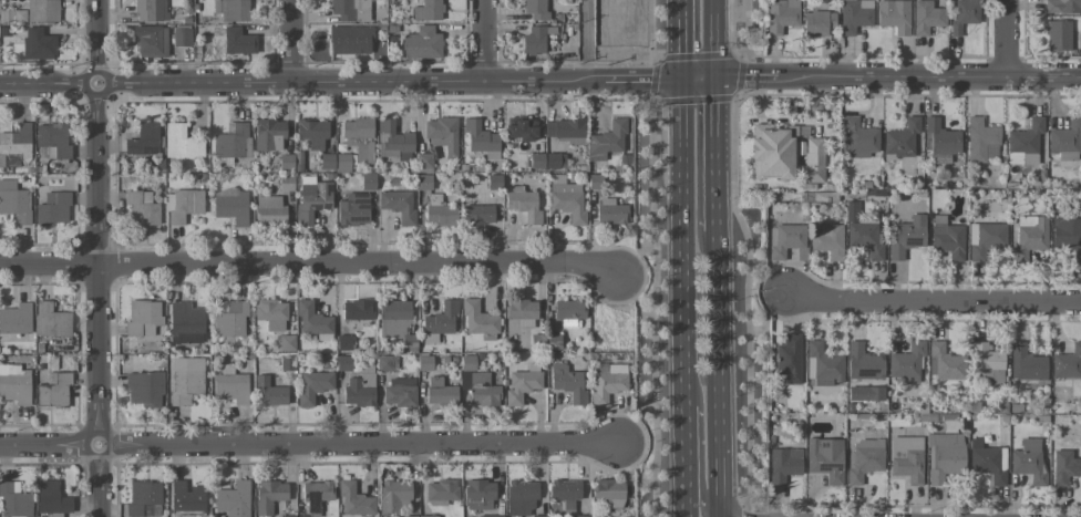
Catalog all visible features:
building: (1062, 6)
building: (534, 9)
building: (150, 10)
building: (230, 10)
building: (349, 10)
building: (426, 10)
building: (41, 11)
building: (962, 14)
building: (12, 15)
building: (781, 15)
building: (854, 15)
building: (894, 15)
building: (926, 17)
building: (817, 22)
road: (747, 28)
road: (649, 29)
building: (1058, 35)
building: (181, 38)
road: (719, 38)
building: (535, 39)
road: (682, 39)
road: (1003, 39)
building: (349, 40)
road: (588, 40)
building: (151, 41)
building: (237, 41)
road: (291, 41)
road: (482, 41)
building: (421, 43)
building: (37, 44)
road: (655, 58)
traffic signals: (720, 77)
road: (899, 77)
road: (701, 79)
traffic signals: (683, 80)
road: (341, 82)
building: (356, 128)
building: (564, 128)
building: (521, 130)
building: (312, 133)
building: (268, 134)
building: (442, 135)
building: (857, 137)
building: (900, 138)
building: (940, 138)
building: (143, 139)
building: (481, 139)
building: (1065, 139)
building: (51, 141)
building: (231, 141)
building: (393, 141)
building: (606, 141)
building: (981, 141)
building: (181, 143)
building: (1025, 143)
building: (361, 149)
building: (770, 153)
road: (720, 154)
building: (813, 159)
building: (285, 161)
building: (423, 161)
building: (543, 161)
building: (342, 163)
building: (423, 182)
building: (285, 183)
building: (367, 183)
building: (311, 198)
building: (566, 199)
building: (14, 201)
building: (523, 204)
building: (182, 205)
building: (398, 205)
building: (230, 206)
building: (141, 208)
building: (52, 209)
building: (353, 209)
building: (269, 210)
building: (610, 211)
building: (851, 211)
building: (439, 213)
building: (477, 215)
building: (907, 237)
building: (947, 237)
building: (1029, 237)
building: (865, 238)
building: (1067, 238)
building: (985, 239)
building: (827, 240)
building: (785, 241)
road: (96, 258)
road: (308, 263)
road: (683, 298)
road: (935, 301)
road: (744, 302)
road: (652, 304)
building: (357, 310)
building: (521, 311)
building: (568, 312)
building: (270, 313)
building: (142, 318)
building: (477, 318)
building: (16, 319)
building: (311, 319)
building: (394, 319)
building: (441, 319)
building: (50, 320)
building: (230, 320)
building: (185, 323)
building: (287, 341)
building: (343, 342)
building: (789, 358)
building: (985, 360)
building: (384, 362)
building: (863, 362)
building: (286, 363)
building: (342, 363)
building: (906, 363)
building: (1026, 363)
building: (1067, 363)
building: (822, 365)
road: (720, 373)
building: (185, 380)
building: (567, 382)
building: (608, 383)
building: (14, 384)
building: (230, 384)
building: (522, 384)
building: (312, 386)
building: (143, 389)
building: (53, 390)
building: (359, 390)
building: (481, 390)
building: (399, 392)
building: (439, 392)
building: (268, 393)
building: (865, 393)
road: (307, 444)
building: (944, 457)
road: (694, 458)
building: (825, 458)
building: (906, 458)
building: (864, 459)
building: (1028, 461)
building: (988, 462)
building: (783, 464)
building: (1064, 466)
building: (565, 489)
building: (441, 492)
building: (609, 492)
building: (316, 495)
building: (393, 495)
building: (477, 495)
building: (269, 496)
building: (185, 497)
building: (519, 497)
building: (51, 499)
building: (143, 499)
building: (233, 499)
building: (14, 500)
building: (353, 500)
building: (286, 516)
building: (302, 516)
building: (421, 516)
building: (490, 516)
building: (580, 516)

